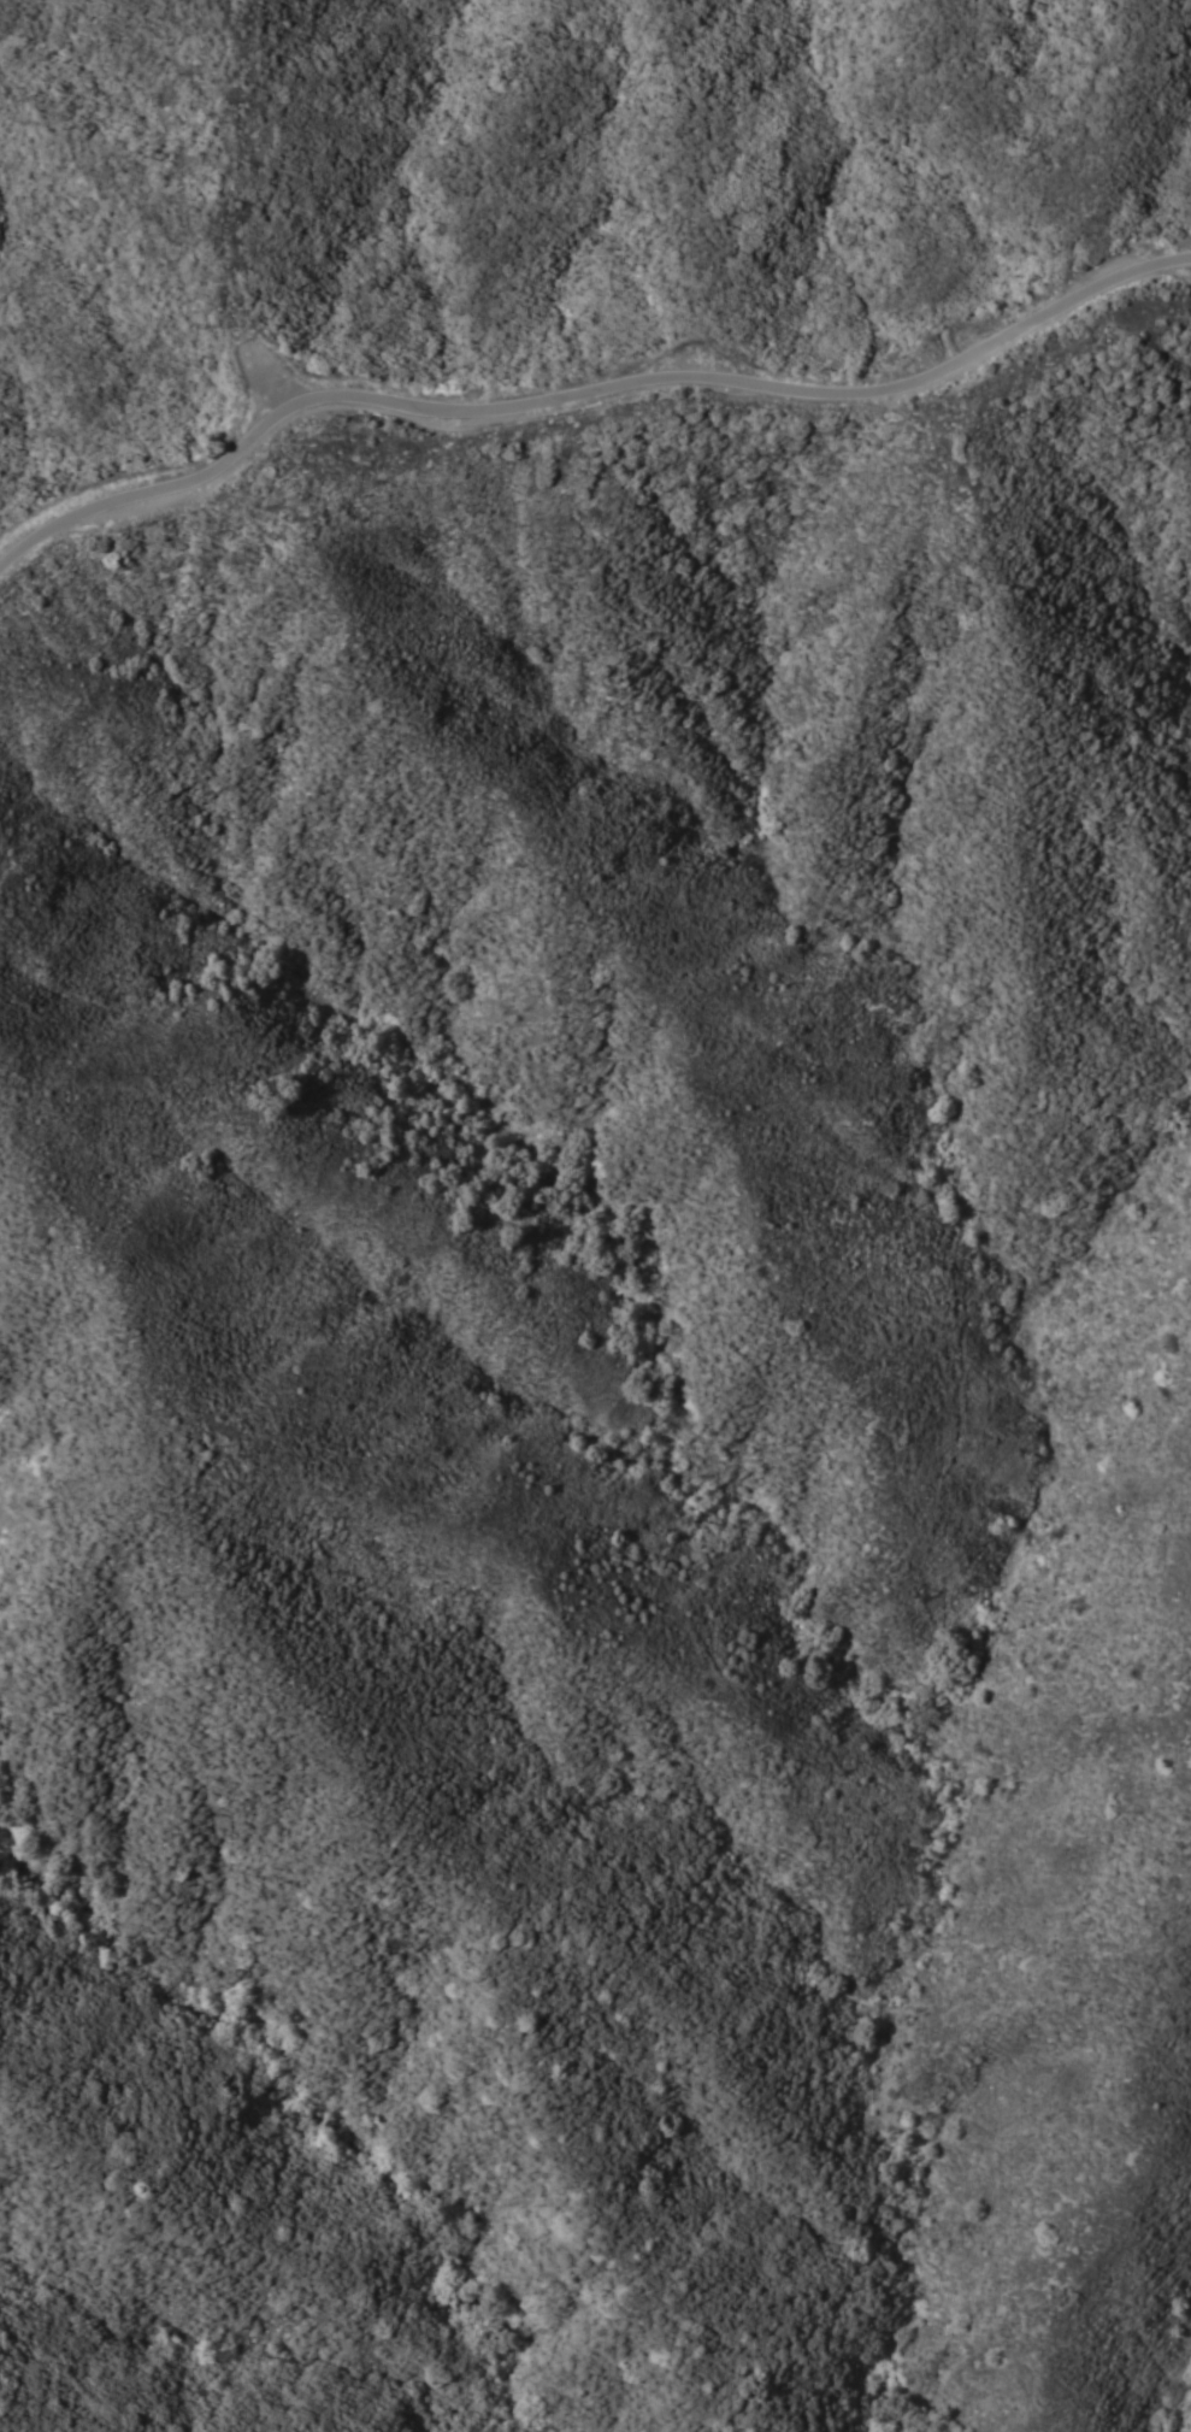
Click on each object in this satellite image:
road: (585, 388)

